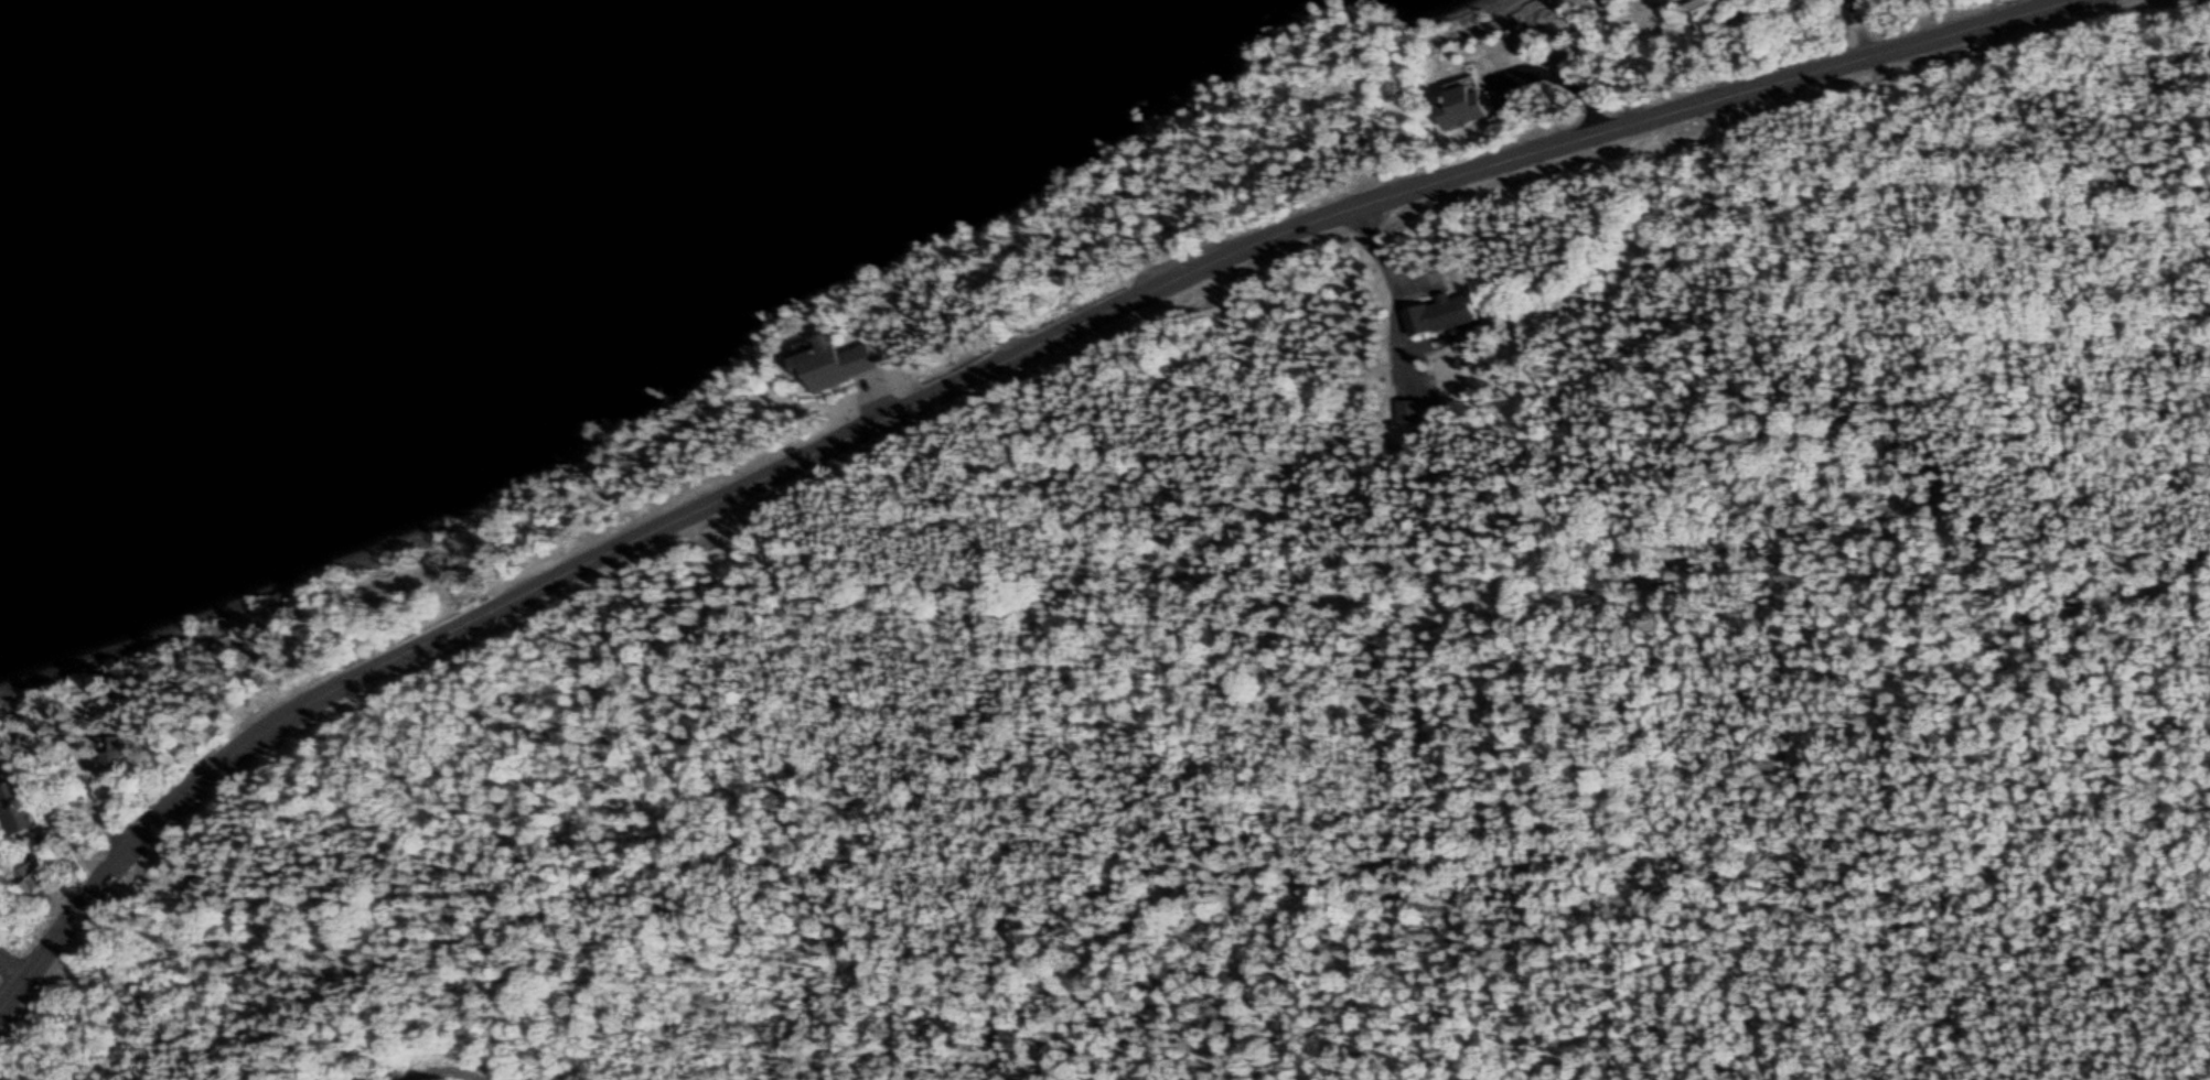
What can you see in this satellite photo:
building: (1702, 12)
building: (1465, 112)
road: (1304, 119)
building: (1455, 314)
building: (835, 367)
road: (963, 378)
building: (20, 811)

